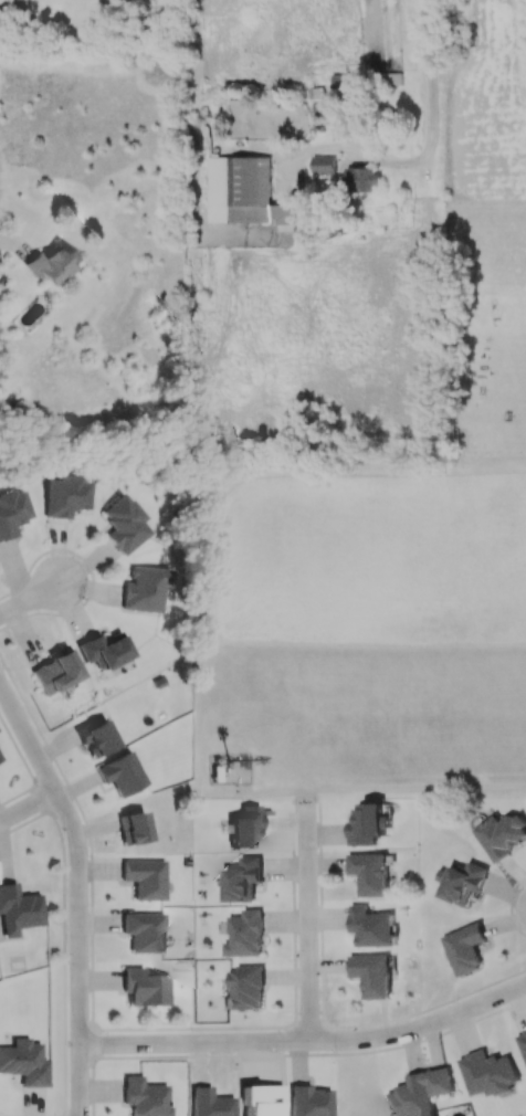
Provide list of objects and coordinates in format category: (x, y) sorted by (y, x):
road: (436, 123)
building: (324, 164)
building: (365, 178)
building: (243, 192)
road: (10, 242)
building: (50, 263)
building: (64, 496)
building: (12, 512)
building: (123, 524)
building: (144, 589)
road: (30, 598)
building: (104, 650)
building: (55, 671)
building: (95, 737)
building: (122, 773)
road: (383, 787)
road: (28, 807)
building: (367, 824)
building: (133, 828)
building: (244, 828)
building: (502, 834)
building: (369, 872)
building: (145, 878)
building: (242, 880)
building: (461, 882)
road: (77, 893)
building: (18, 909)
road: (306, 922)
building: (371, 926)
building: (144, 931)
building: (244, 934)
building: (464, 948)
building: (372, 973)
building: (144, 988)
building: (245, 988)
road: (307, 1041)
building: (488, 1073)
building: (421, 1092)
building: (145, 1097)
building: (260, 1099)
building: (308, 1101)
building: (209, 1103)

